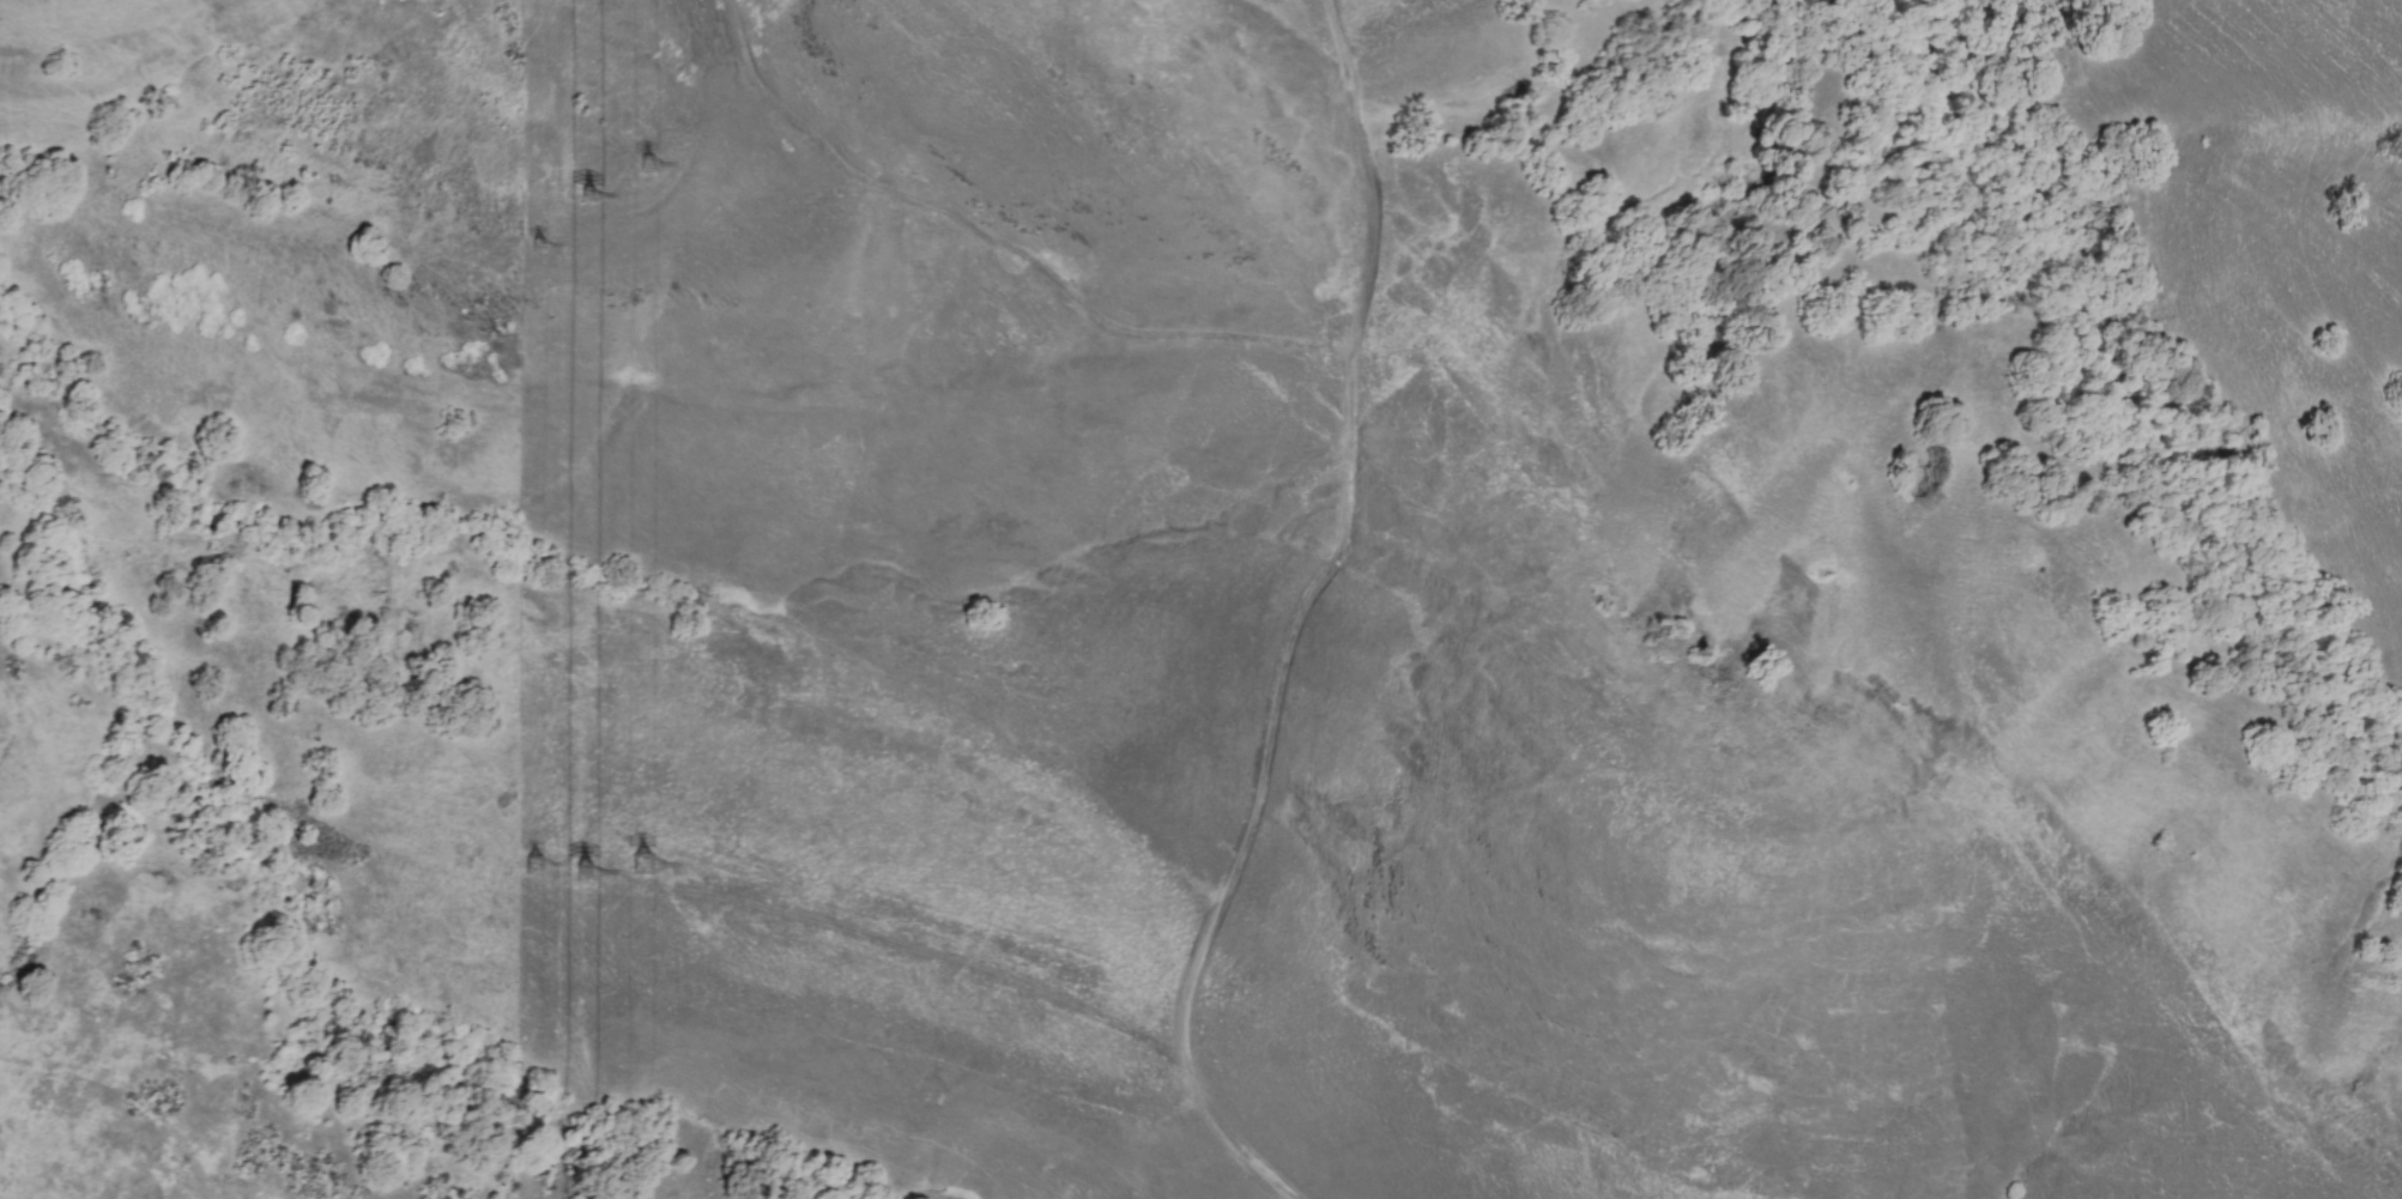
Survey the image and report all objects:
power tower: (649, 165)
power tower: (592, 194)
power tower: (544, 240)
road: (1297, 619)
power tower: (646, 856)
power tower: (588, 866)
power tower: (538, 870)

